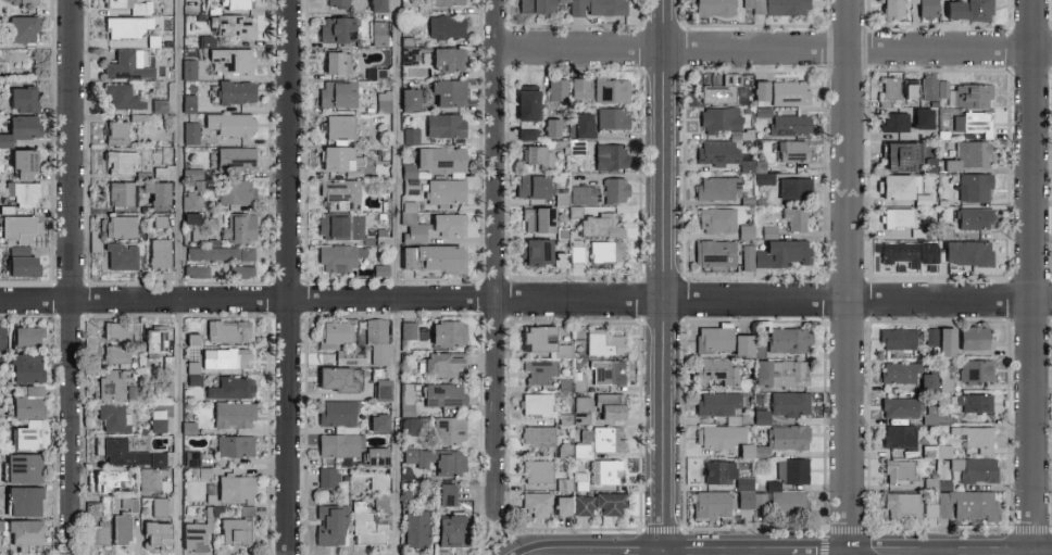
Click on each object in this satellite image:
building: (562, 0)
building: (23, 1)
building: (335, 2)
building: (446, 2)
building: (118, 3)
building: (234, 3)
building: (375, 4)
building: (536, 5)
building: (598, 7)
building: (786, 7)
building: (714, 8)
building: (890, 9)
building: (953, 9)
building: (978, 10)
building: (231, 25)
building: (127, 26)
building: (444, 26)
building: (22, 28)
building: (335, 28)
building: (377, 33)
building: (205, 41)
road: (772, 47)
building: (444, 59)
building: (230, 60)
building: (336, 61)
building: (129, 64)
building: (187, 68)
building: (910, 86)
building: (577, 87)
building: (889, 87)
building: (718, 88)
building: (927, 88)
building: (555, 89)
building: (760, 89)
building: (941, 89)
building: (611, 90)
building: (235, 91)
building: (448, 91)
building: (788, 92)
building: (337, 93)
building: (970, 94)
building: (120, 97)
building: (21, 98)
building: (409, 99)
building: (383, 102)
building: (525, 102)
building: (187, 103)
building: (158, 105)
building: (611, 117)
building: (922, 117)
building: (719, 118)
building: (893, 122)
building: (972, 123)
building: (229, 124)
building: (581, 124)
building: (790, 124)
building: (443, 125)
building: (338, 126)
building: (550, 127)
building: (18, 128)
building: (116, 133)
building: (190, 133)
building: (527, 134)
building: (411, 135)
building: (791, 150)
building: (715, 151)
building: (970, 152)
building: (534, 155)
building: (900, 155)
building: (610, 156)
building: (234, 157)
building: (335, 157)
building: (434, 160)
building: (117, 162)
building: (21, 163)
building: (949, 164)
building: (159, 173)
building: (762, 174)
building: (192, 179)
building: (530, 186)
building: (893, 186)
building: (792, 187)
building: (974, 187)
building: (717, 188)
building: (444, 190)
building: (614, 190)
building: (235, 191)
building: (21, 192)
building: (340, 192)
building: (118, 193)
building: (581, 194)
building: (158, 195)
building: (561, 199)
building: (191, 201)
building: (188, 217)
building: (897, 217)
building: (974, 217)
building: (793, 218)
building: (536, 219)
building: (716, 219)
building: (159, 220)
building: (330, 225)
building: (123, 226)
building: (354, 226)
building: (431, 226)
building: (600, 226)
building: (238, 227)
building: (18, 228)
building: (768, 231)
building: (943, 231)
building: (927, 250)
building: (535, 251)
building: (896, 251)
building: (605, 252)
building: (713, 252)
building: (966, 252)
building: (158, 253)
building: (218, 254)
building: (775, 254)
building: (120, 256)
building: (339, 257)
building: (434, 257)
road: (493, 257)
building: (558, 260)
building: (20, 262)
building: (379, 269)
building: (195, 272)
building: (236, 272)
road: (661, 274)
road: (847, 274)
road: (1031, 274)
road: (70, 277)
road: (179, 277)
road: (287, 277)
road: (394, 277)
road: (526, 298)
building: (406, 329)
building: (117, 330)
building: (226, 331)
building: (333, 333)
building: (447, 333)
building: (26, 336)
building: (931, 337)
building: (1, 338)
building: (714, 338)
building: (973, 338)
building: (376, 339)
building: (788, 339)
building: (897, 339)
building: (152, 341)
building: (542, 341)
building: (945, 341)
building: (602, 342)
building: (741, 345)
building: (115, 354)
building: (351, 355)
building: (224, 357)
building: (440, 364)
building: (25, 367)
building: (538, 370)
building: (976, 370)
building: (606, 371)
building: (717, 371)
building: (377, 373)
building: (779, 373)
building: (899, 373)
building: (338, 378)
building: (927, 380)
building: (945, 381)
building: (115, 384)
building: (230, 388)
building: (380, 389)
building: (443, 394)
building: (406, 399)
building: (26, 403)
building: (715, 403)
building: (789, 403)
building: (975, 403)
building: (536, 404)
building: (609, 406)
building: (902, 407)
building: (583, 409)
building: (336, 413)
building: (231, 415)
building: (930, 415)
building: (760, 416)
building: (112, 417)
building: (156, 420)
building: (377, 421)
building: (187, 428)
building: (448, 429)
building: (25, 436)
building: (537, 436)
building: (718, 436)
building: (788, 437)
building: (899, 437)
building: (977, 437)
building: (606, 439)
building: (339, 444)
building: (234, 445)
building: (752, 451)
building: (121, 453)
building: (375, 456)
building: (190, 458)
building: (156, 459)
building: (437, 459)
building: (23, 467)
building: (975, 469)
building: (536, 470)
building: (603, 470)
building: (791, 470)
building: (717, 471)
building: (898, 471)
building: (326, 477)
building: (108, 479)
building: (148, 479)
building: (234, 489)
building: (744, 490)
building: (378, 493)
building: (443, 494)
building: (778, 499)
building: (23, 500)
building: (535, 504)
building: (712, 504)
building: (967, 504)
building: (561, 505)
building: (581, 505)
building: (606, 505)
building: (901, 505)
building: (158, 506)
building: (930, 509)
building: (123, 520)
building: (329, 525)
building: (364, 526)
building: (415, 528)
road: (558, 529)
road: (660, 529)
road: (751, 529)
road: (1050, 529)
building: (235, 530)
road: (494, 530)
road: (844, 530)
road: (938, 530)
road: (1029, 530)
building: (448, 531)
building: (23, 532)
building: (101, 532)
building: (154, 533)
building: (193, 535)
road: (823, 542)
road: (791, 548)
road: (617, 552)
road: (722, 552)
road: (830, 552)
road: (939, 552)
road: (1048, 552)

